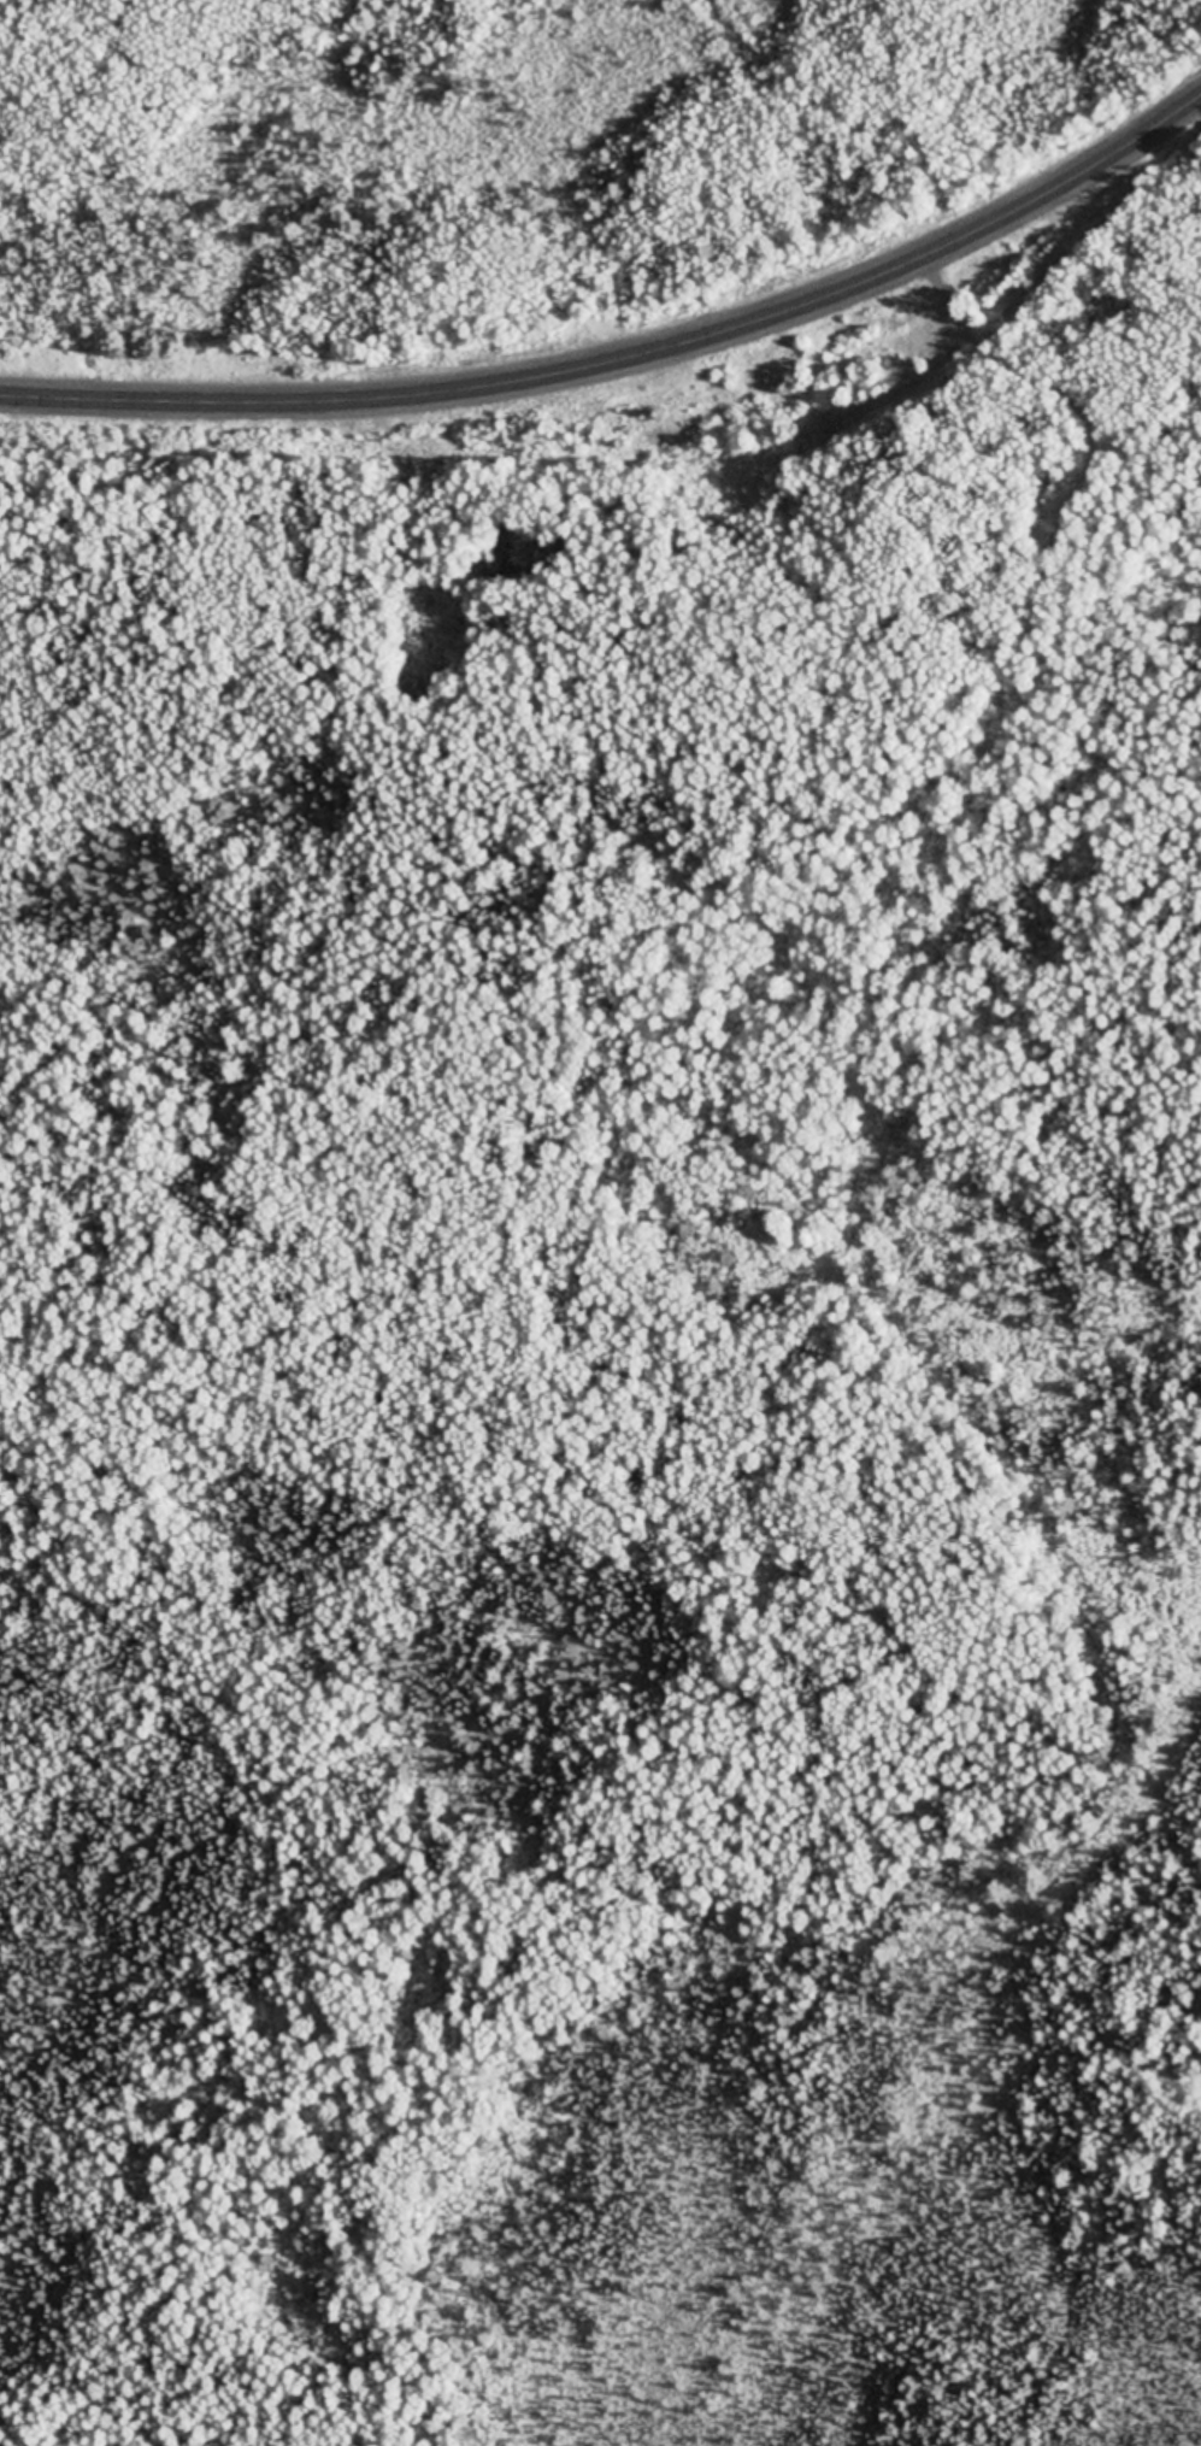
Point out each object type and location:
road: (628, 359)

